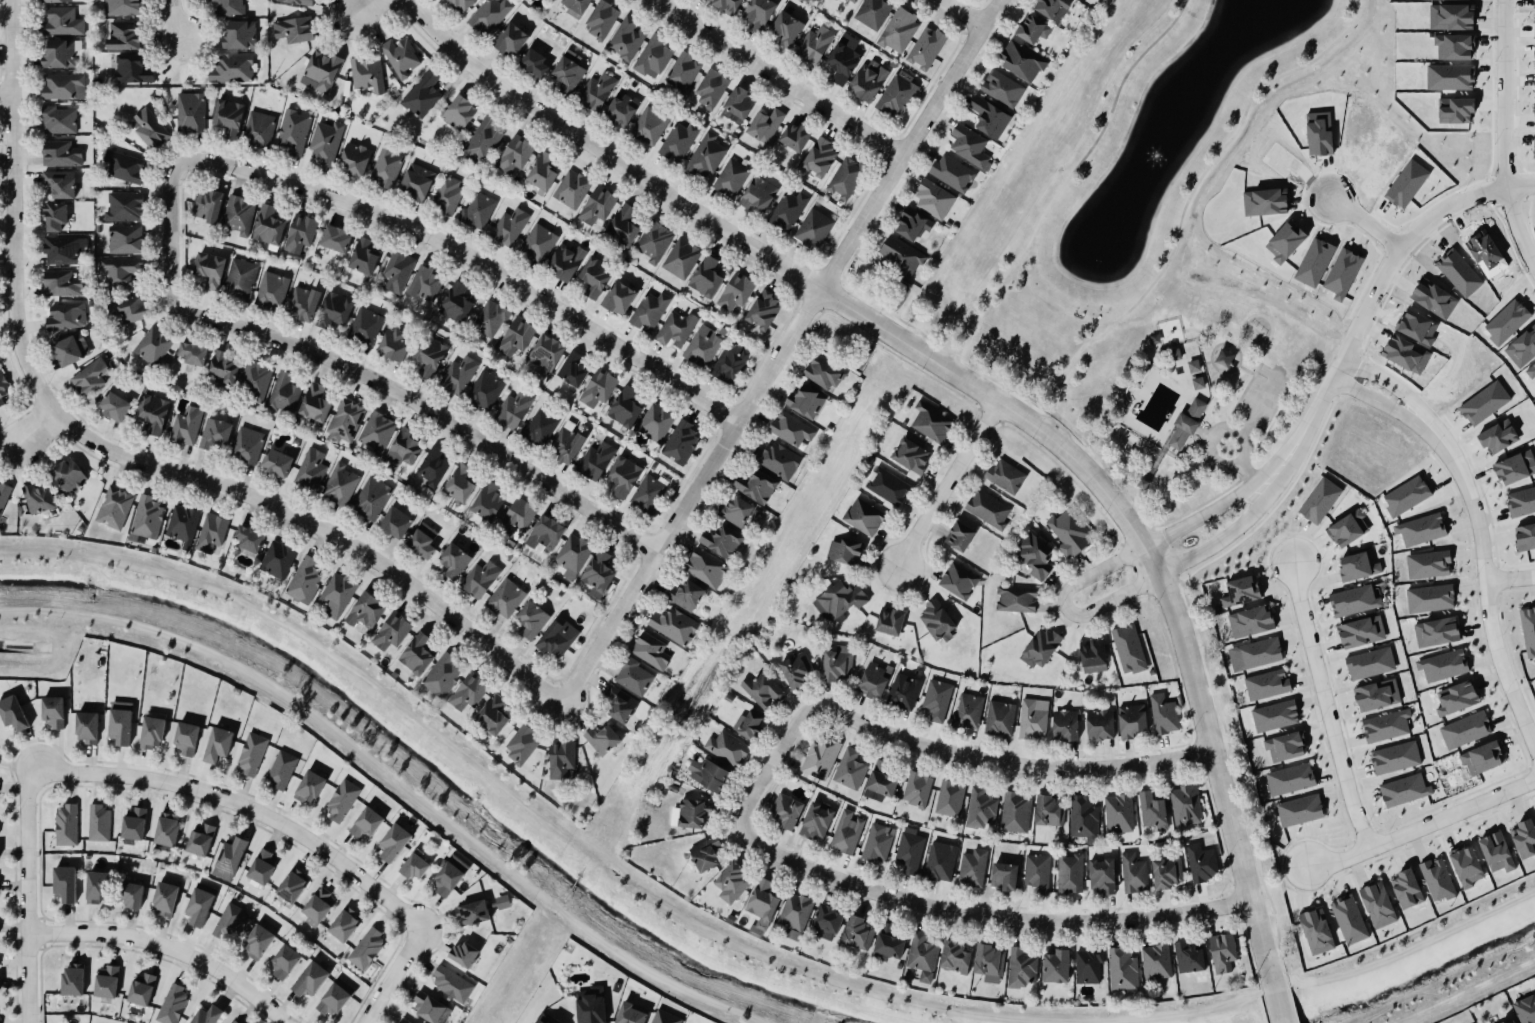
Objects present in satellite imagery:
building: (819, 0)
building: (856, 0)
building: (55, 1)
building: (462, 4)
building: (725, 5)
building: (122, 7)
building: (229, 7)
road: (365, 8)
building: (575, 8)
building: (1050, 8)
road: (971, 12)
building: (872, 13)
building: (758, 14)
building: (490, 15)
building: (601, 19)
road: (177, 20)
building: (62, 22)
building: (1534, 25)
building: (787, 28)
building: (1033, 28)
building: (294, 29)
building: (898, 29)
building: (123, 35)
building: (240, 35)
building: (626, 37)
building: (510, 40)
building: (814, 44)
building: (926, 47)
building: (1455, 47)
building: (59, 54)
building: (400, 57)
building: (653, 57)
building: (843, 57)
building: (1022, 61)
building: (1534, 61)
building: (534, 62)
building: (231, 68)
building: (133, 69)
building: (321, 71)
building: (568, 71)
building: (682, 72)
building: (367, 74)
building: (1450, 77)
road: (782, 78)
building: (867, 81)
building: (63, 86)
building: (710, 87)
building: (1002, 88)
building: (596, 92)
road: (1503, 92)
building: (897, 94)
building: (422, 95)
road: (5, 96)
building: (1534, 96)
building: (737, 105)
building: (620, 110)
building: (1534, 110)
building: (190, 112)
building: (459, 112)
building: (229, 117)
building: (990, 118)
fountain: (1173, 118)
building: (58, 120)
building: (765, 125)
building: (649, 126)
building: (259, 128)
building: (149, 129)
building: (294, 131)
building: (795, 135)
building: (1534, 138)
building: (678, 141)
building: (325, 142)
building: (483, 142)
building: (969, 146)
road: (610, 152)
building: (60, 153)
building: (515, 154)
building: (705, 156)
building: (820, 157)
building: (354, 159)
building: (124, 166)
building: (386, 167)
building: (543, 172)
building: (953, 173)
road: (1069, 176)
building: (730, 177)
building: (845, 178)
park: (1121, 180)
building: (417, 181)
building: (62, 184)
building: (572, 188)
road: (1189, 193)
building: (758, 194)
building: (447, 196)
building: (934, 199)
building: (208, 205)
building: (124, 206)
building: (597, 206)
building: (478, 210)
building: (787, 210)
building: (238, 214)
road: (1514, 215)
building: (55, 216)
building: (913, 224)
road: (1364, 224)
building: (269, 226)
building: (509, 226)
building: (623, 226)
building: (814, 228)
building: (300, 233)
building: (336, 238)
building: (125, 239)
building: (654, 241)
building: (537, 243)
building: (63, 250)
building: (901, 255)
building: (364, 256)
road: (481, 258)
building: (680, 258)
road: (845, 268)
building: (210, 269)
building: (581, 269)
building: (120, 270)
building: (397, 271)
building: (706, 277)
building: (240, 279)
building: (60, 284)
building: (426, 284)
park: (875, 285)
building: (272, 290)
building: (736, 291)
building: (618, 297)
building: (303, 302)
building: (456, 303)
building: (127, 309)
building: (764, 309)
building: (334, 310)
building: (649, 311)
road: (1363, 315)
building: (66, 316)
road: (1259, 316)
building: (490, 318)
building: (1506, 321)
road: (869, 324)
building: (365, 326)
building: (675, 329)
building: (516, 336)
park: (840, 341)
building: (394, 343)
road: (1223, 344)
building: (153, 345)
building: (703, 346)
building: (1522, 347)
road: (1244, 348)
road: (777, 349)
building: (70, 350)
building: (546, 352)
building: (193, 353)
building: (1172, 354)
building: (431, 355)
building: (731, 363)
road: (1203, 364)
building: (1192, 365)
road: (356, 367)
building: (224, 368)
building: (573, 370)
building: (1531, 370)
building: (824, 373)
road: (1251, 374)
building: (458, 375)
building: (90, 377)
building: (255, 380)
road: (1383, 380)
road: (997, 382)
park: (1188, 382)
building: (1196, 382)
building: (599, 387)
building: (484, 390)
building: (283, 392)
building: (4, 393)
parking lot: (1259, 397)
road: (997, 399)
road: (1371, 399)
building: (806, 401)
road: (1256, 401)
building: (314, 403)
building: (1484, 403)
building: (115, 406)
building: (625, 407)
building: (513, 409)
building: (153, 412)
building: (345, 420)
building: (656, 422)
building: (1185, 422)
building: (931, 423)
road: (42, 425)
building: (186, 425)
building: (540, 426)
road: (1209, 426)
building: (791, 429)
building: (377, 432)
building: (215, 433)
building: (1498, 436)
building: (681, 442)
road: (1206, 442)
building: (247, 444)
building: (567, 445)
road: (1163, 446)
building: (406, 447)
road: (132, 454)
building: (911, 455)
building: (595, 460)
building: (776, 460)
building: (277, 462)
building: (1515, 467)
building: (310, 469)
road: (1249, 474)
building: (69, 475)
building: (624, 475)
building: (1005, 476)
road: (948, 483)
building: (340, 484)
building: (461, 484)
building: (886, 485)
building: (756, 486)
building: (4, 494)
building: (648, 494)
building: (1406, 496)
building: (371, 498)
building: (38, 499)
building: (488, 500)
building: (1320, 500)
building: (1521, 501)
building: (114, 507)
building: (988, 508)
road: (1190, 508)
building: (735, 511)
road: (1201, 515)
building: (863, 516)
building: (517, 517)
building: (146, 519)
building: (395, 522)
building: (182, 524)
building: (1348, 528)
building: (1420, 529)
building: (211, 532)
building: (545, 533)
building: (1070, 533)
building: (960, 536)
building: (1525, 537)
building: (249, 540)
building: (423, 540)
building: (722, 541)
building: (845, 551)
building: (572, 555)
building: (1035, 556)
building: (277, 559)
building: (454, 561)
building: (1428, 564)
building: (1357, 566)
building: (706, 568)
road: (1173, 568)
building: (599, 572)
road: (1096, 572)
road: (1484, 574)
building: (480, 578)
road: (1510, 578)
building: (304, 580)
building: (958, 581)
building: (1241, 591)
building: (336, 595)
building: (686, 595)
building: (505, 598)
building: (1016, 598)
building: (1430, 598)
building: (840, 600)
building: (1353, 600)
building: (366, 610)
building: (531, 619)
building: (937, 620)
building: (890, 621)
building: (1251, 621)
building: (674, 625)
building: (1528, 629)
building: (391, 631)
building: (1436, 631)
building: (1361, 632)
building: (558, 638)
building: (1040, 647)
building: (1128, 647)
building: (650, 650)
building: (417, 654)
building: (1255, 654)
building: (1093, 656)
building: (838, 663)
building: (1370, 663)
building: (1443, 665)
building: (797, 670)
building: (443, 675)
building: (634, 677)
building: (874, 679)
building: (1267, 684)
building: (764, 689)
building: (903, 691)
building: (468, 692)
building: (1377, 695)
building: (1457, 698)
building: (937, 699)
building: (620, 704)
road: (1327, 706)
building: (967, 710)
building: (53, 711)
building: (12, 712)
building: (1163, 714)
building: (493, 715)
building: (1275, 715)
building: (999, 718)
building: (1033, 718)
building: (1132, 720)
building: (120, 722)
building: (749, 724)
building: (1065, 725)
building: (1100, 725)
building: (1386, 725)
building: (87, 727)
building: (1465, 729)
building: (152, 732)
building: (186, 738)
building: (602, 738)
building: (522, 743)
building: (218, 744)
road: (941, 746)
building: (1285, 746)
building: (727, 748)
building: (252, 753)
building: (1395, 757)
building: (561, 758)
building: (820, 758)
building: (1482, 758)
building: (281, 769)
building: (849, 769)
road: (1213, 771)
building: (708, 774)
building: (1290, 779)
building: (310, 786)
building: (880, 786)
building: (917, 789)
building: (1404, 790)
building: (950, 798)
building: (342, 800)
building: (1186, 805)
building: (980, 808)
road: (243, 810)
building: (1049, 810)
building: (1299, 810)
building: (786, 811)
building: (1153, 811)
building: (1015, 812)
building: (692, 813)
building: (1118, 813)
building: (1083, 818)
building: (817, 821)
building: (98, 823)
building: (366, 823)
building: (66, 825)
building: (133, 825)
road: (1422, 826)
building: (167, 829)
building: (846, 832)
building: (1525, 838)
building: (201, 839)
building: (394, 842)
building: (877, 842)
building: (909, 850)
building: (1496, 852)
building: (706, 854)
building: (229, 858)
building: (940, 861)
building: (1201, 862)
building: (262, 866)
building: (414, 866)
building: (1466, 866)
building: (973, 867)
building: (1070, 872)
building: (1167, 872)
building: (1037, 873)
building: (1134, 873)
building: (449, 875)
building: (1102, 875)
building: (1004, 876)
building: (1437, 879)
building: (732, 882)
building: (65, 883)
building: (291, 886)
building: (97, 887)
building: (1406, 889)
building: (131, 894)
road: (26, 897)
building: (165, 898)
building: (200, 904)
building: (1378, 904)
building: (762, 905)
building: (318, 906)
building: (473, 912)
building: (795, 914)
road: (989, 914)
building: (1348, 919)
building: (229, 921)
building: (826, 922)
building: (344, 925)
building: (1316, 931)
building: (858, 932)
building: (258, 941)
building: (888, 945)
building: (367, 948)
road: (164, 950)
building: (1222, 952)
building: (464, 954)
building: (922, 956)
building: (955, 956)
building: (1188, 958)
building: (284, 961)
building: (989, 961)
building: (1156, 961)
building: (1088, 965)
building: (1056, 966)
building: (1021, 968)
building: (1122, 968)
road: (391, 976)
building: (72, 979)
building: (310, 979)
building: (106, 981)
building: (452, 984)
building: (141, 989)
building: (335, 998)
building: (172, 1004)
building: (592, 1006)
building: (430, 1008)
building: (1525, 1009)
road: (1277, 1011)
building: (631, 1013)
building: (208, 1015)
building: (665, 1017)
building: (404, 1020)
building: (554, 1020)
building: (541, 1021)
building: (1509, 1021)
building: (234, 1022)

